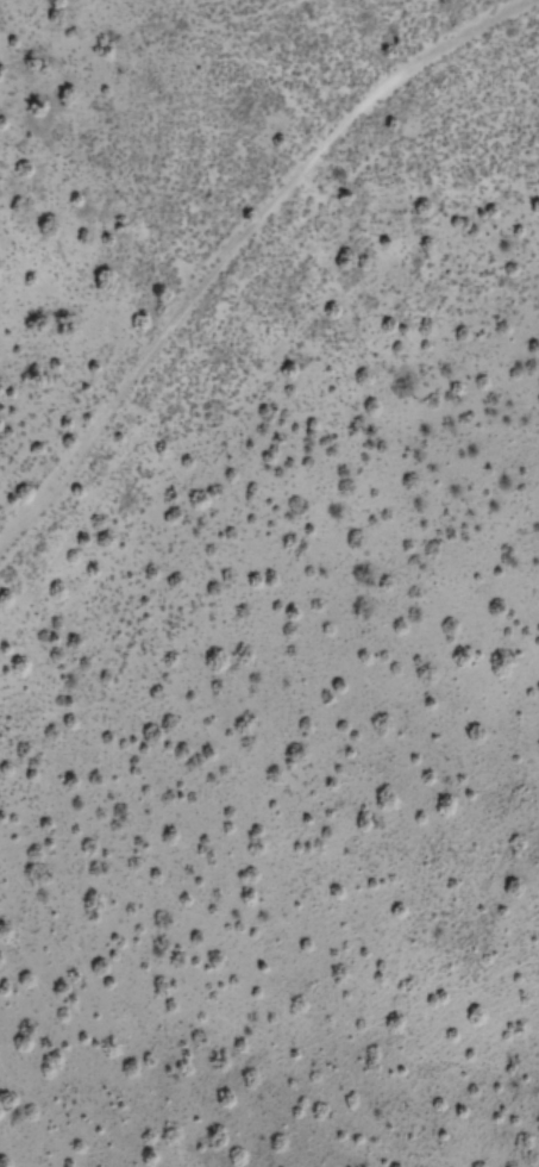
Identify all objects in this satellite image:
road: (262, 343)

